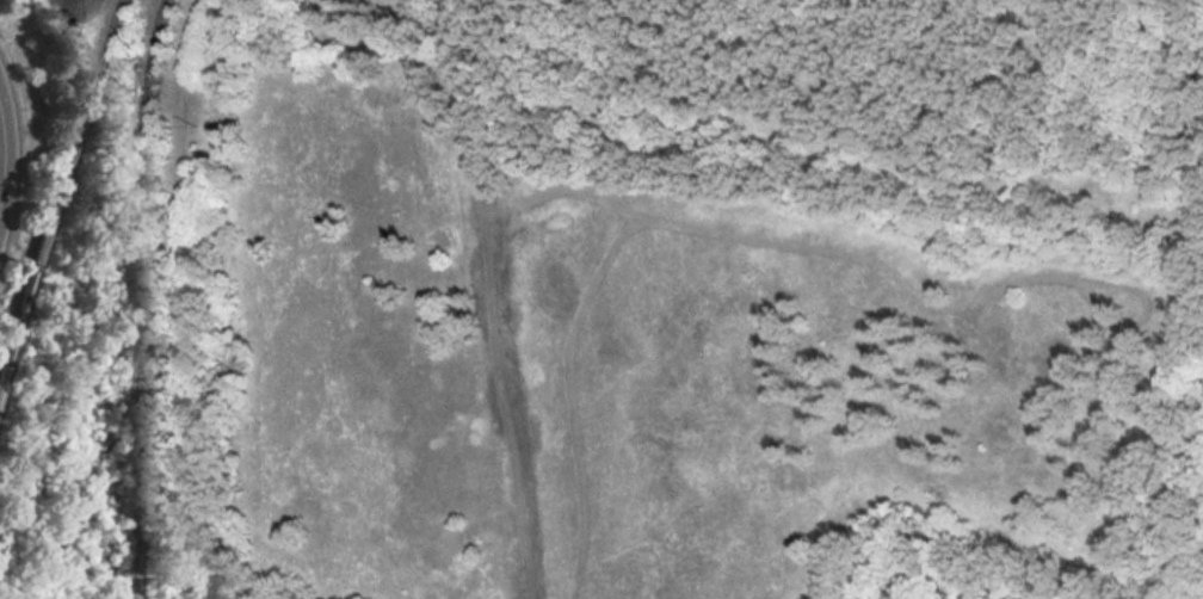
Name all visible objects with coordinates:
road: (10, 155)
railway: (57, 193)
railway: (137, 297)

